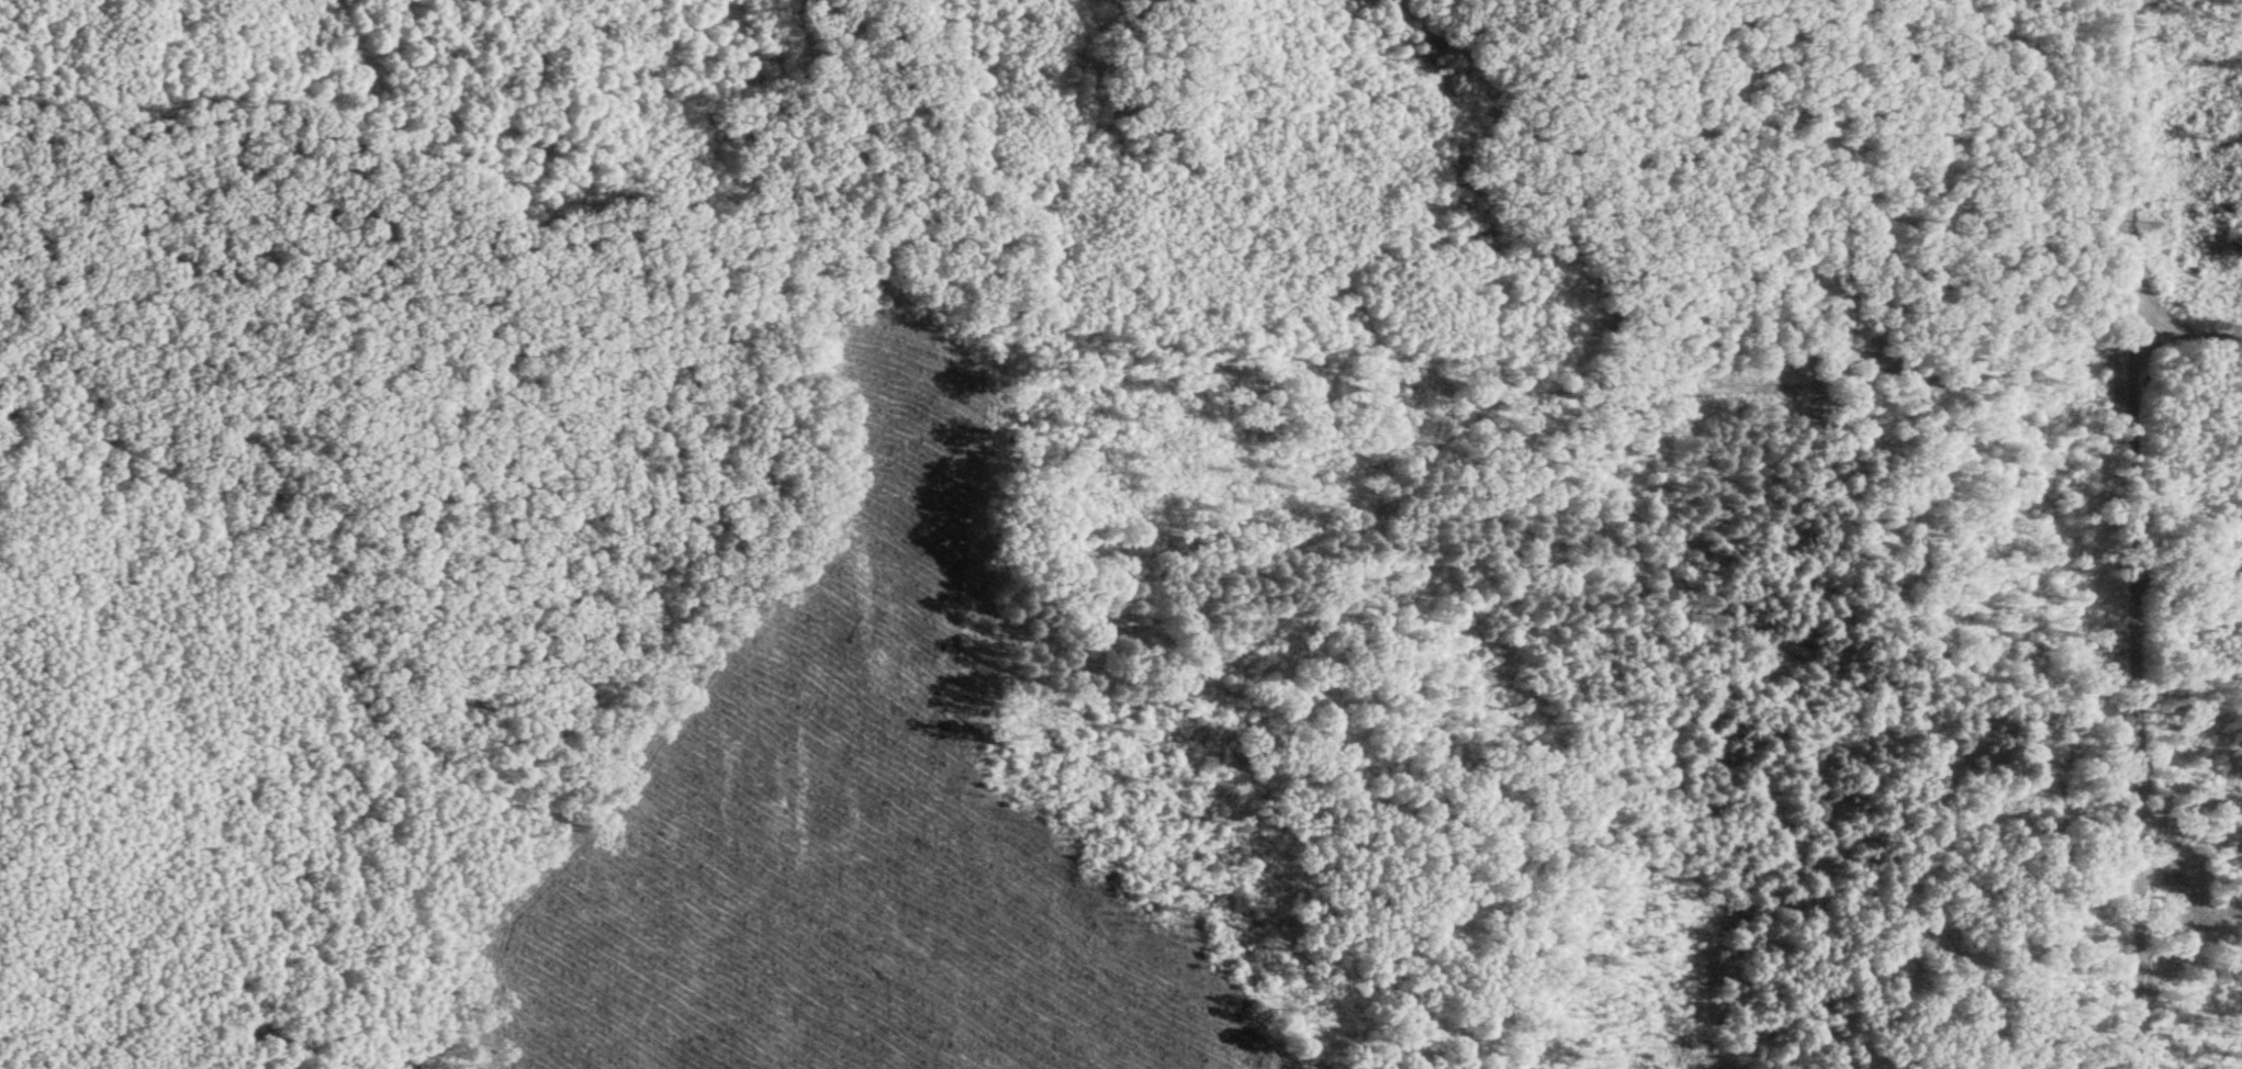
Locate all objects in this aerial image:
road: (2133, 138)
road: (2164, 308)
road: (2188, 335)
road: (2143, 673)

